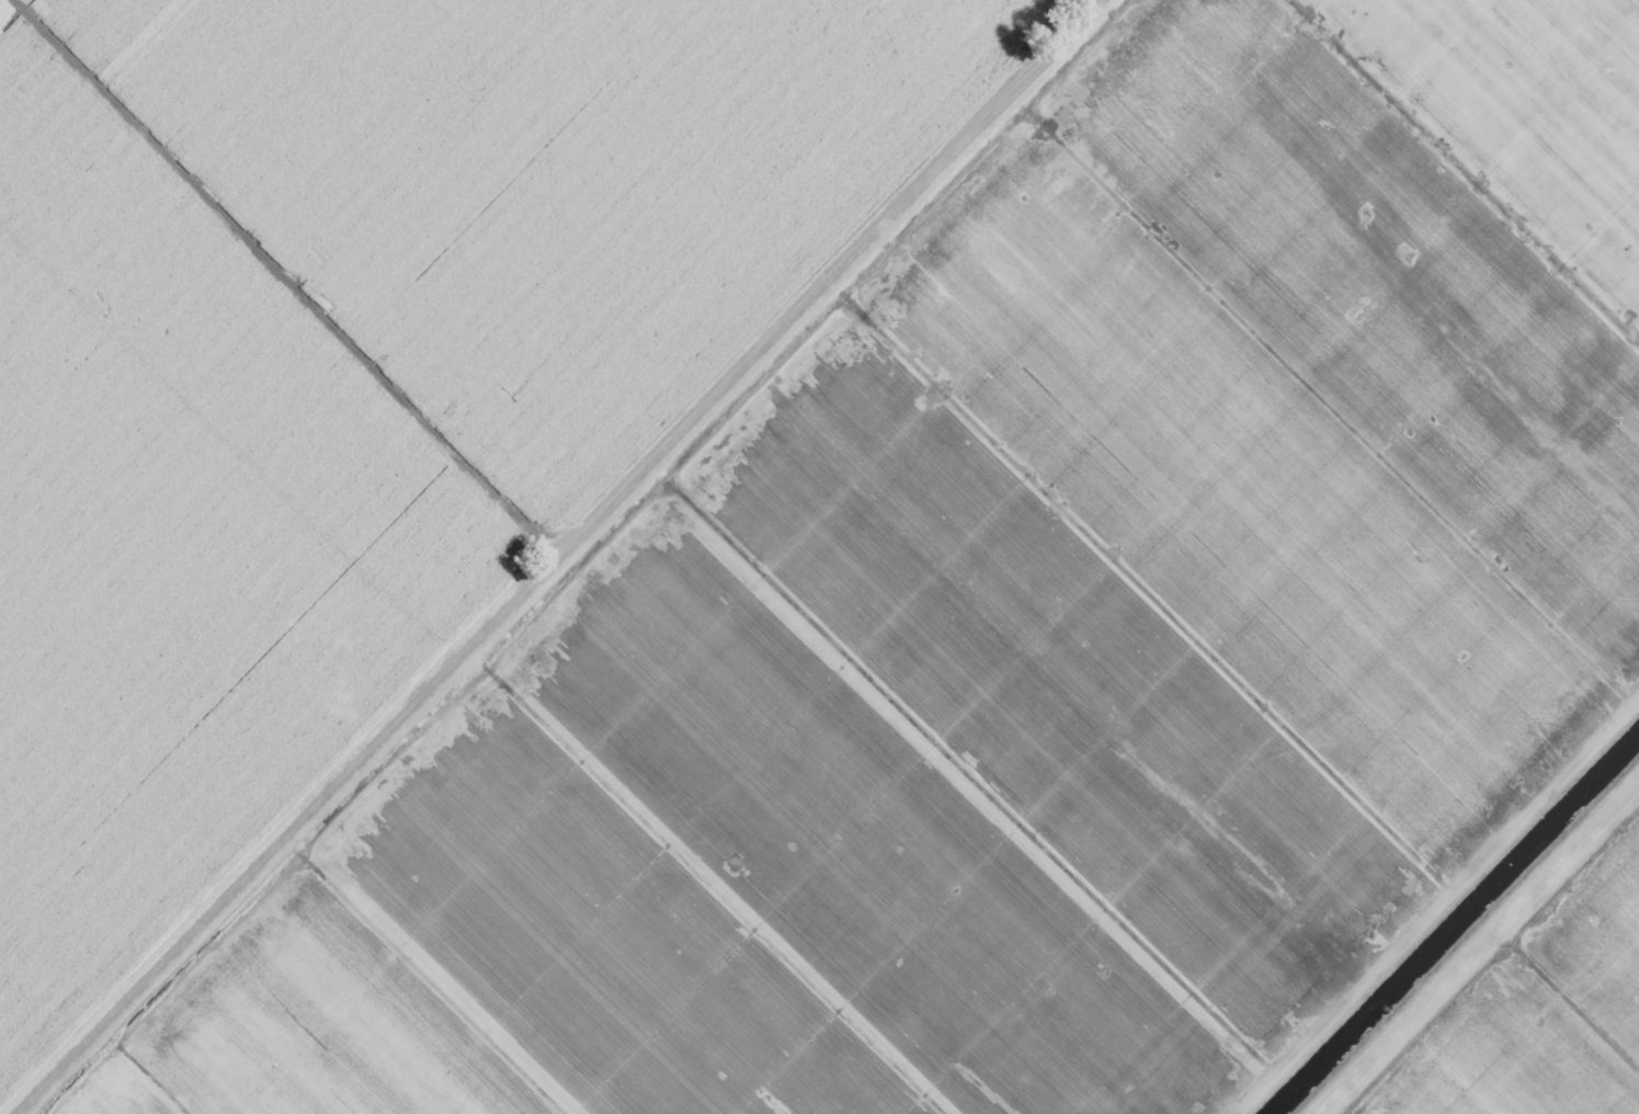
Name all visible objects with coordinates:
road: (1439, 909)

